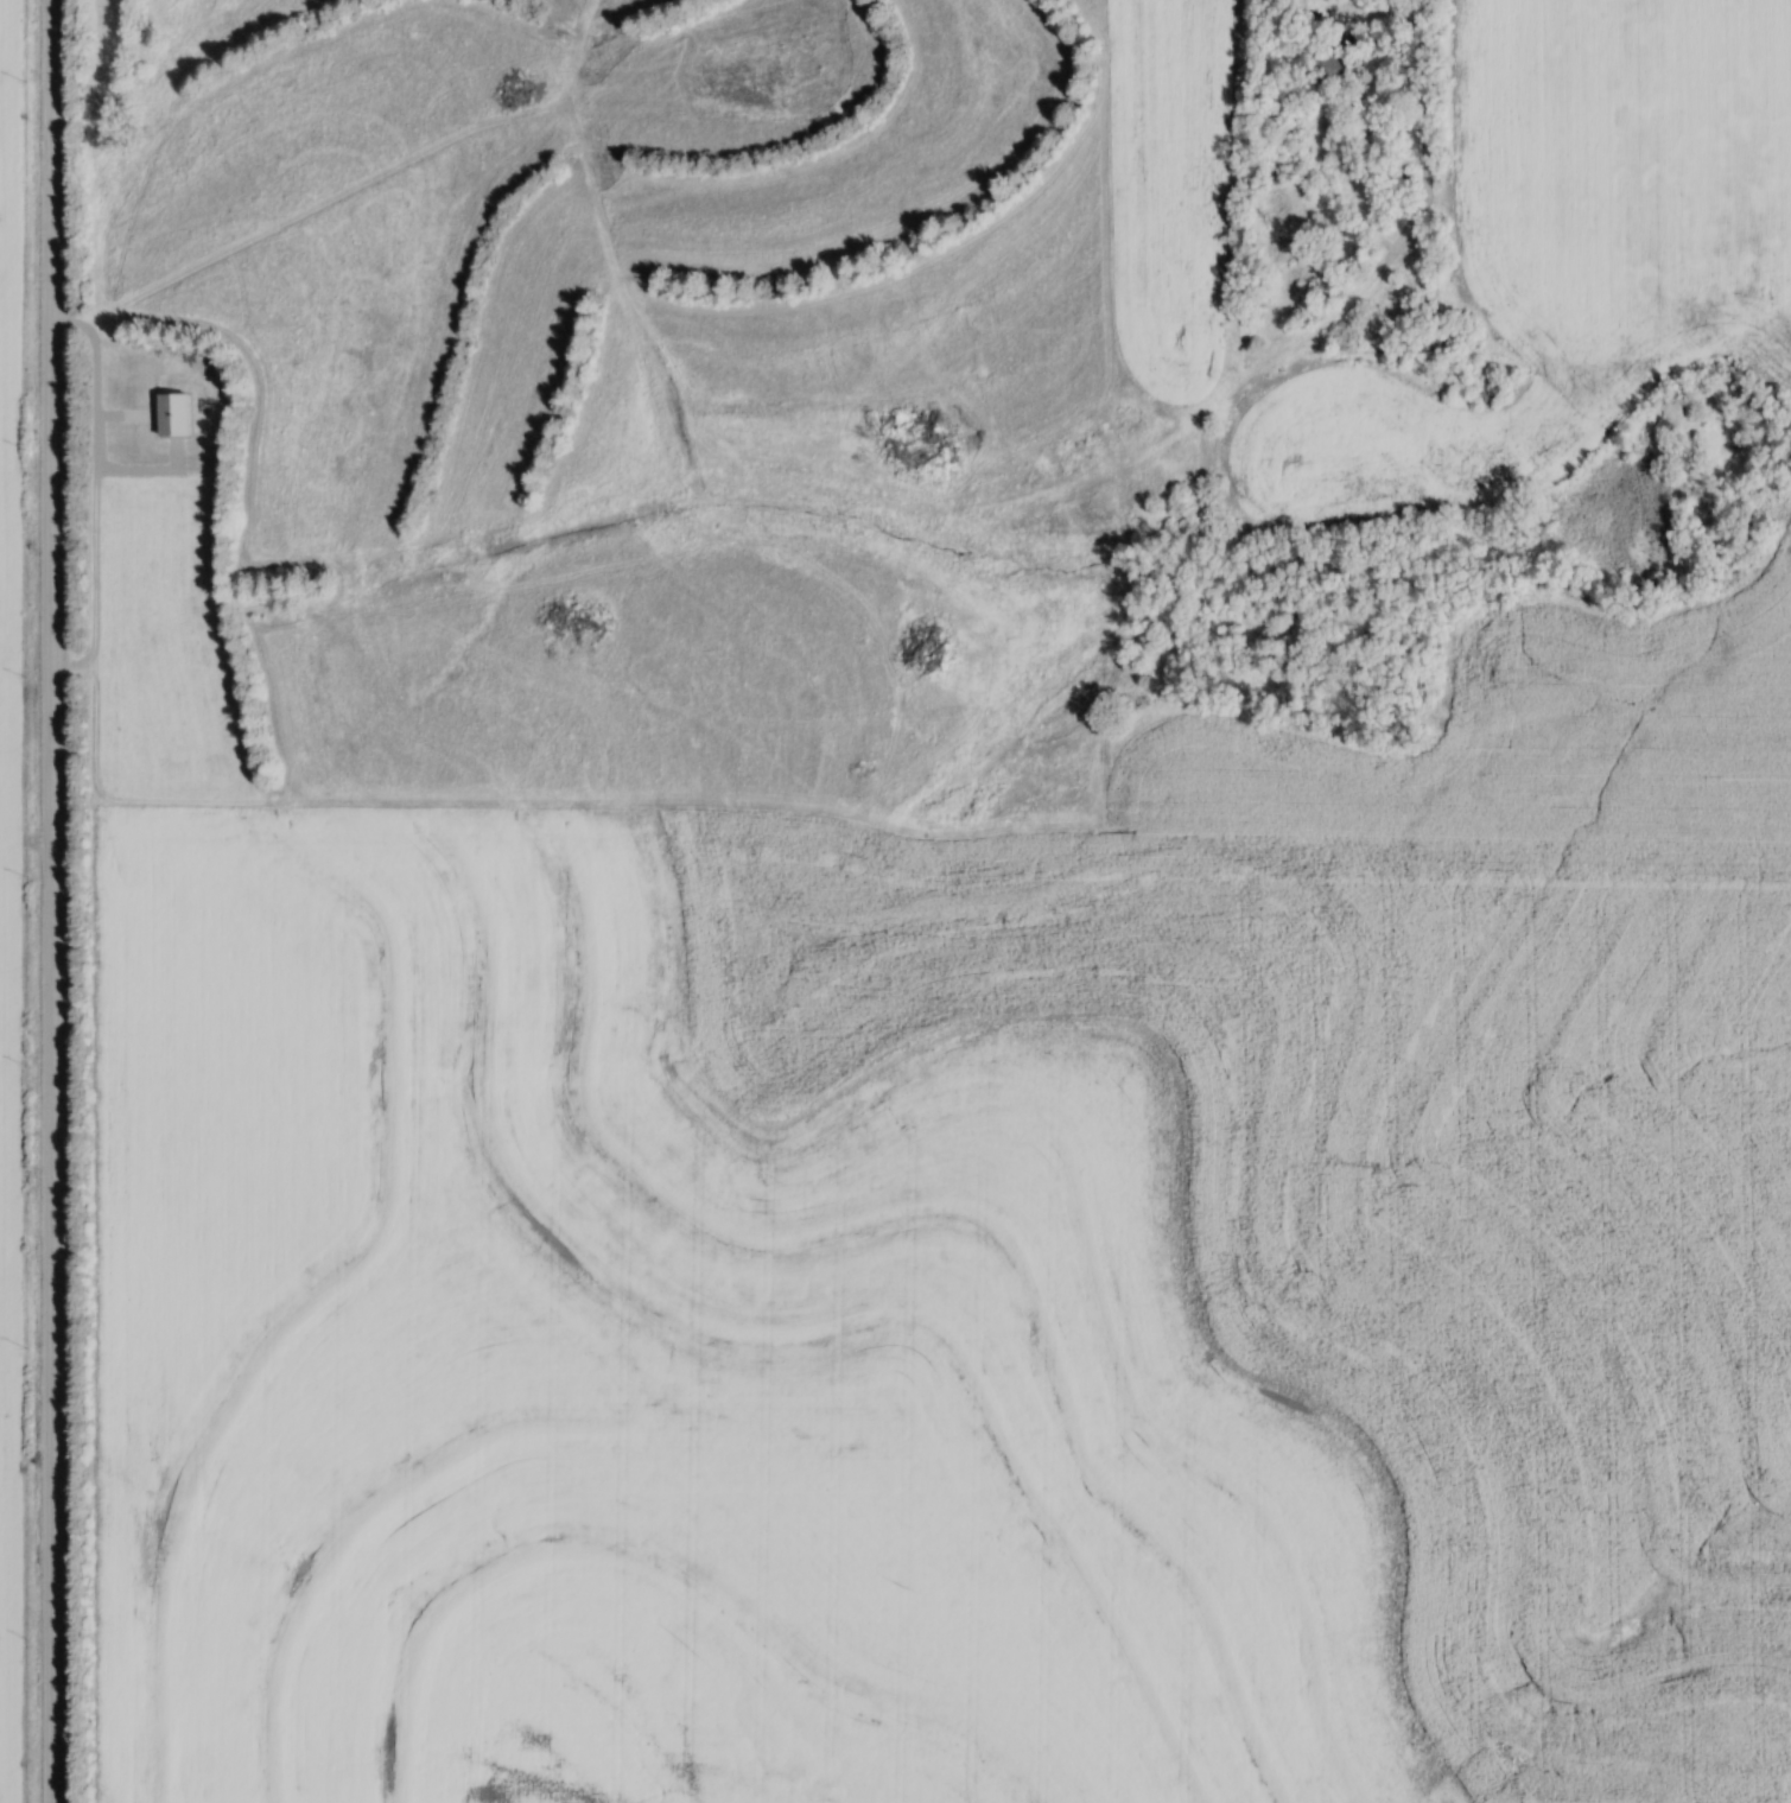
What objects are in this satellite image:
road: (1386, 19)
building: (1333, 66)
building: (171, 414)
road: (53, 901)

